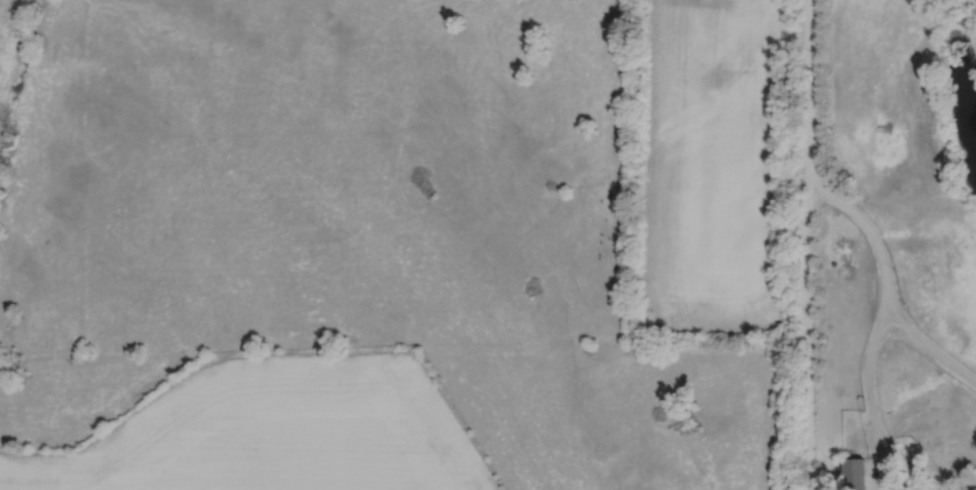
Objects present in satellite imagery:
road: (807, 244)
road: (885, 320)
road: (931, 355)
building: (855, 473)

